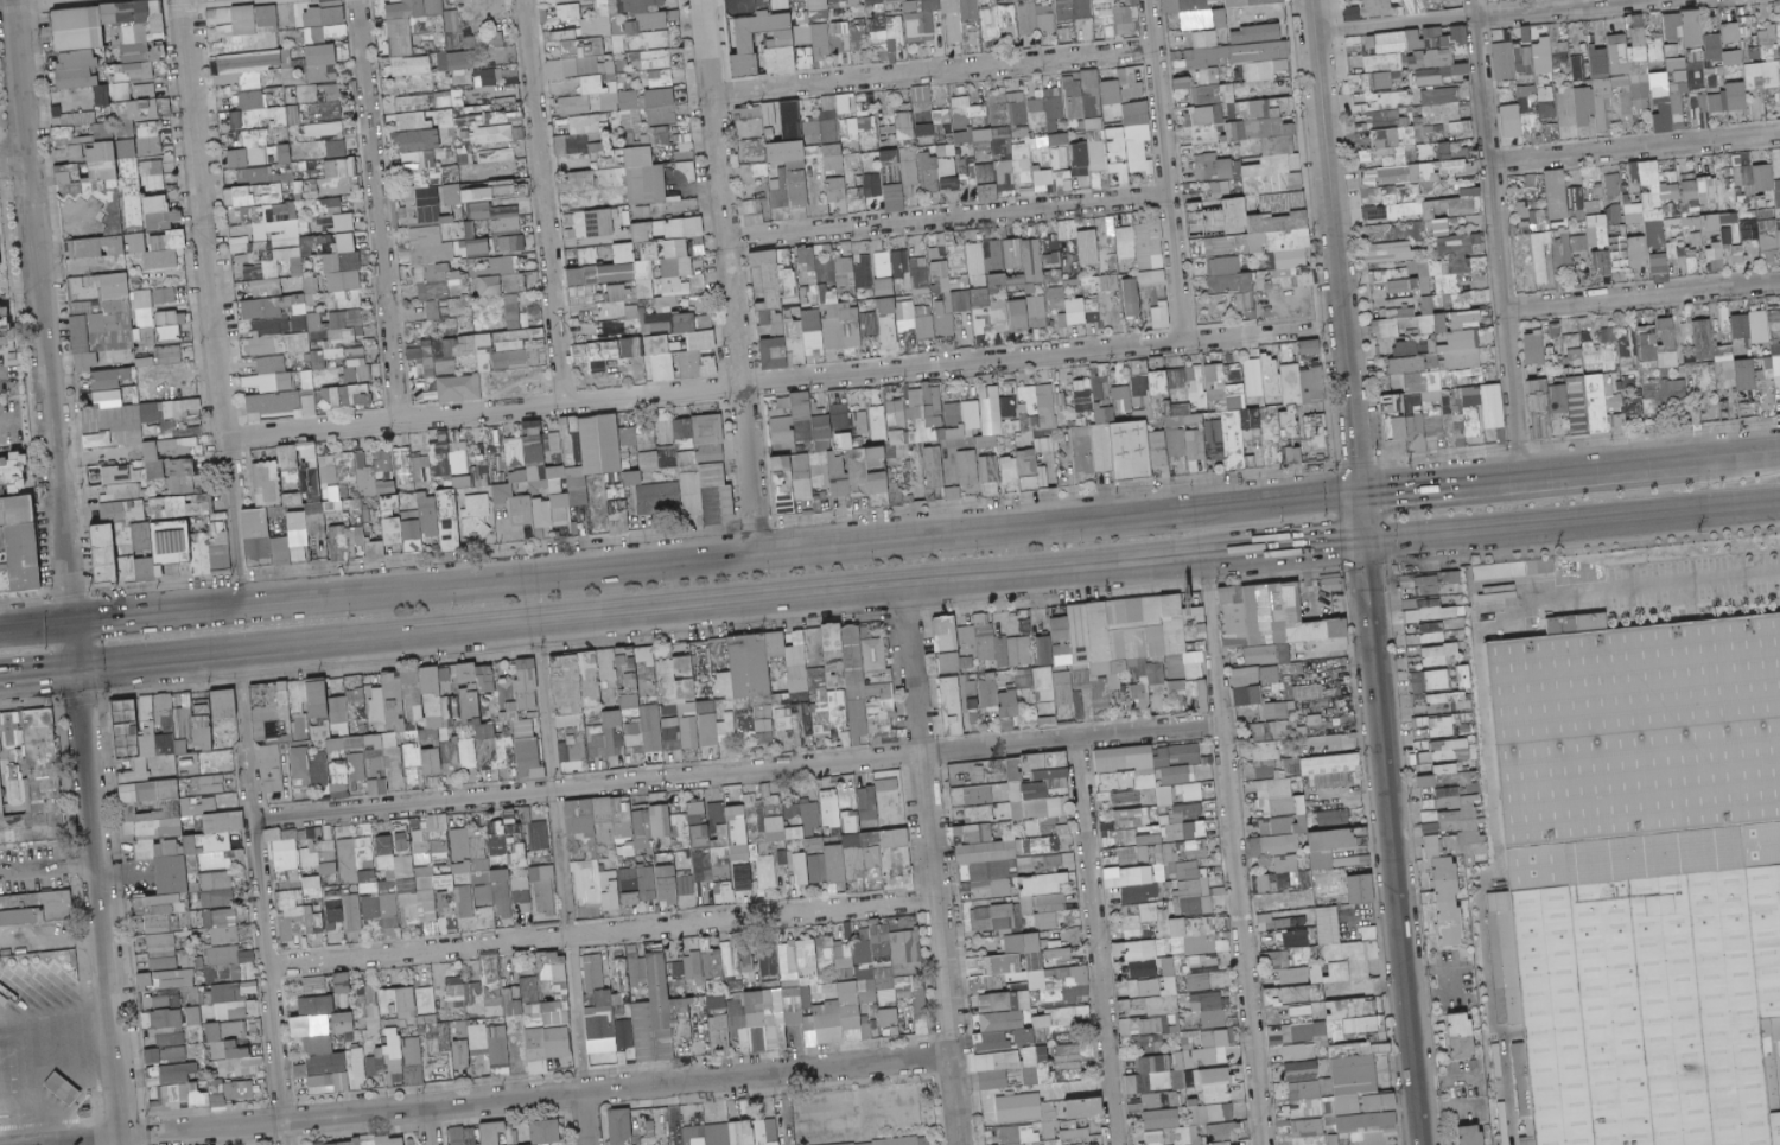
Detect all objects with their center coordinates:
building: (879, 1)
building: (847, 2)
building: (814, 5)
building: (565, 12)
building: (239, 20)
building: (450, 20)
building: (113, 33)
building: (405, 34)
building: (77, 72)
road: (1165, 170)
road: (1495, 237)
road: (39, 335)
traffic signals: (62, 581)
gas station: (49, 1069)

